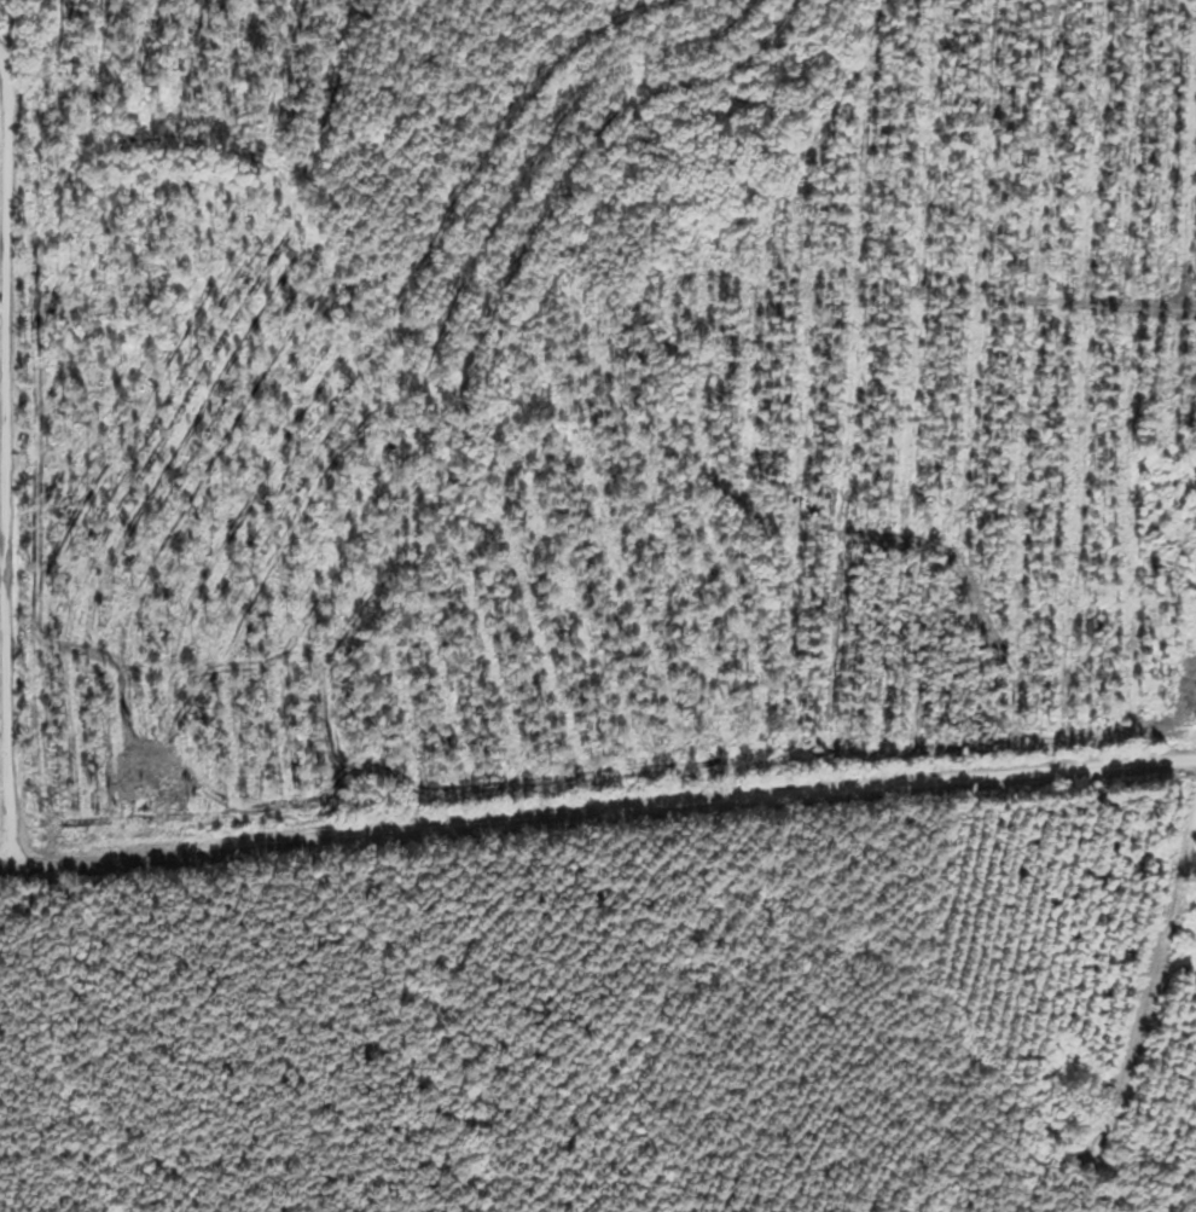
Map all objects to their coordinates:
road: (598, 851)

